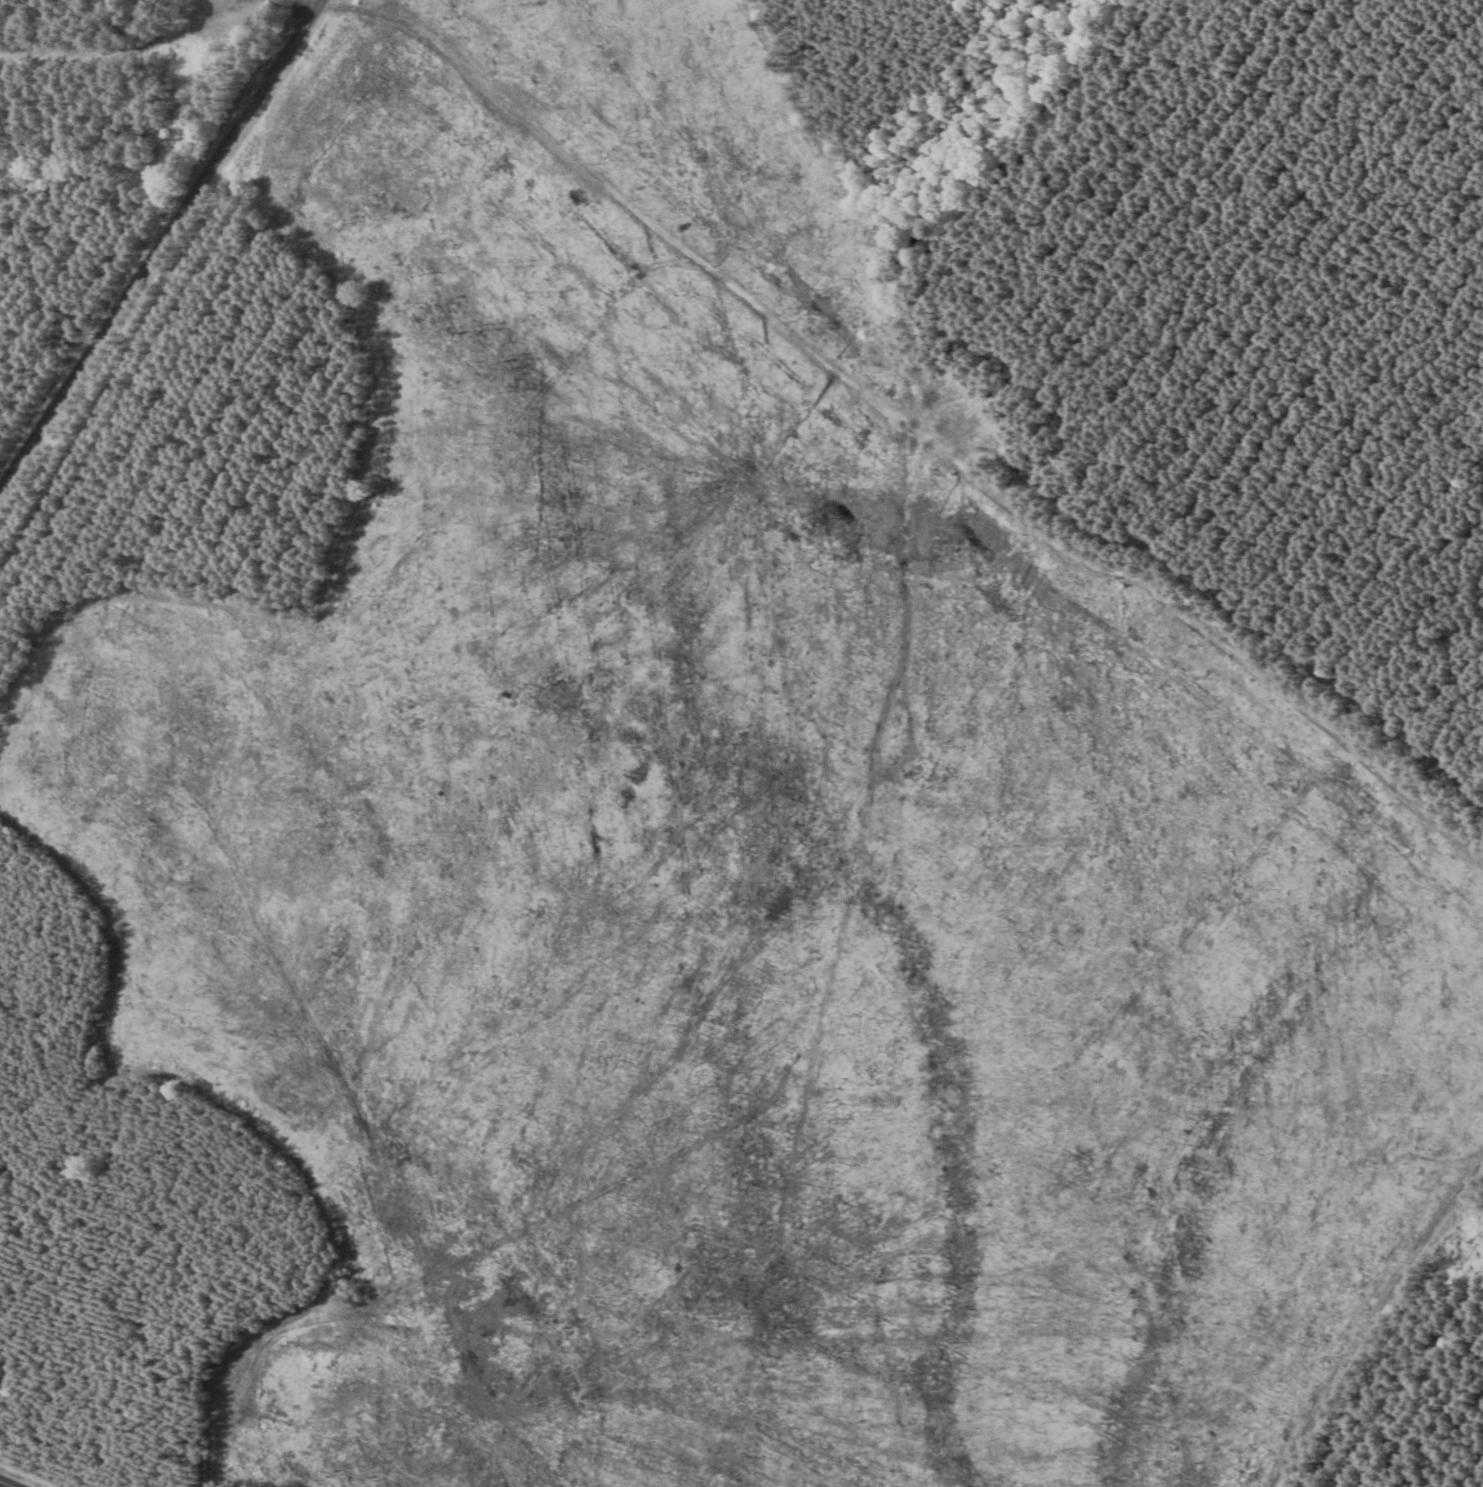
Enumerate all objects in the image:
road: (154, 241)

